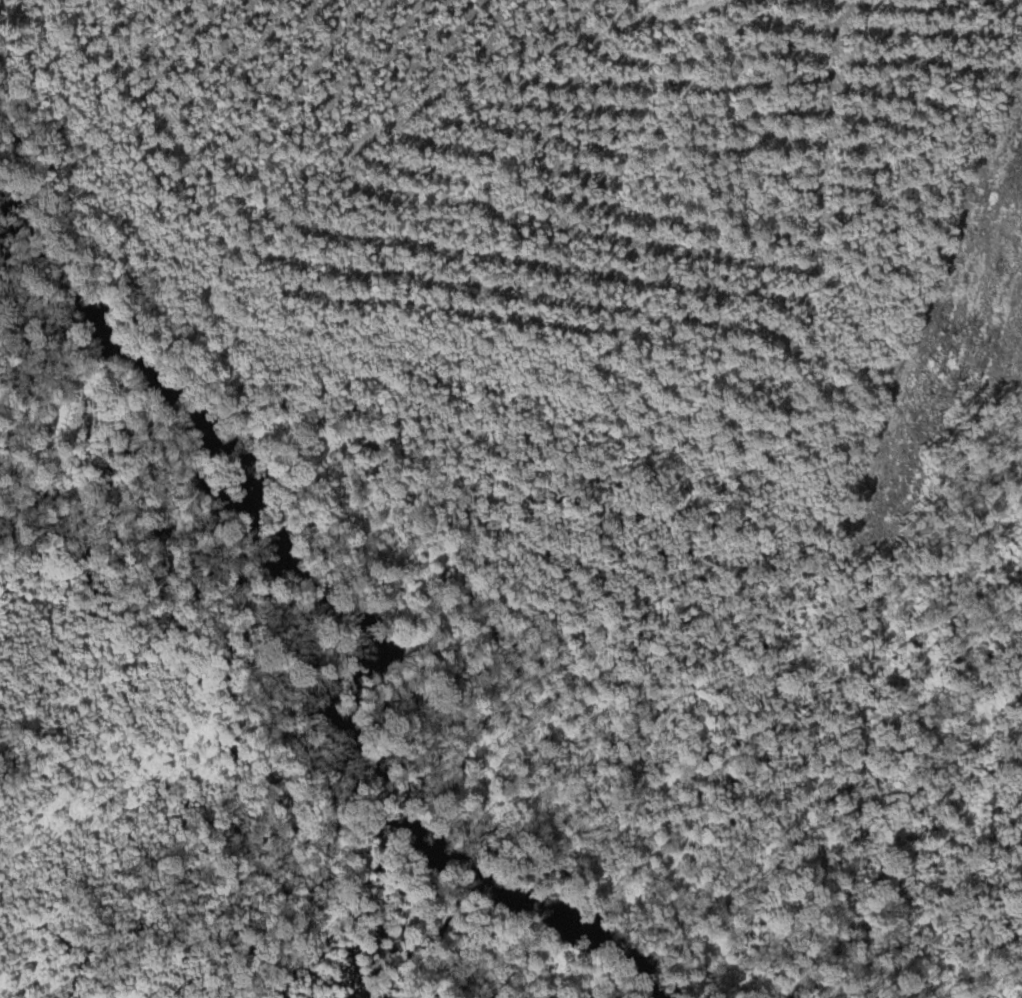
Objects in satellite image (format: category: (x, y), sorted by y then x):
river: (351, 742)

